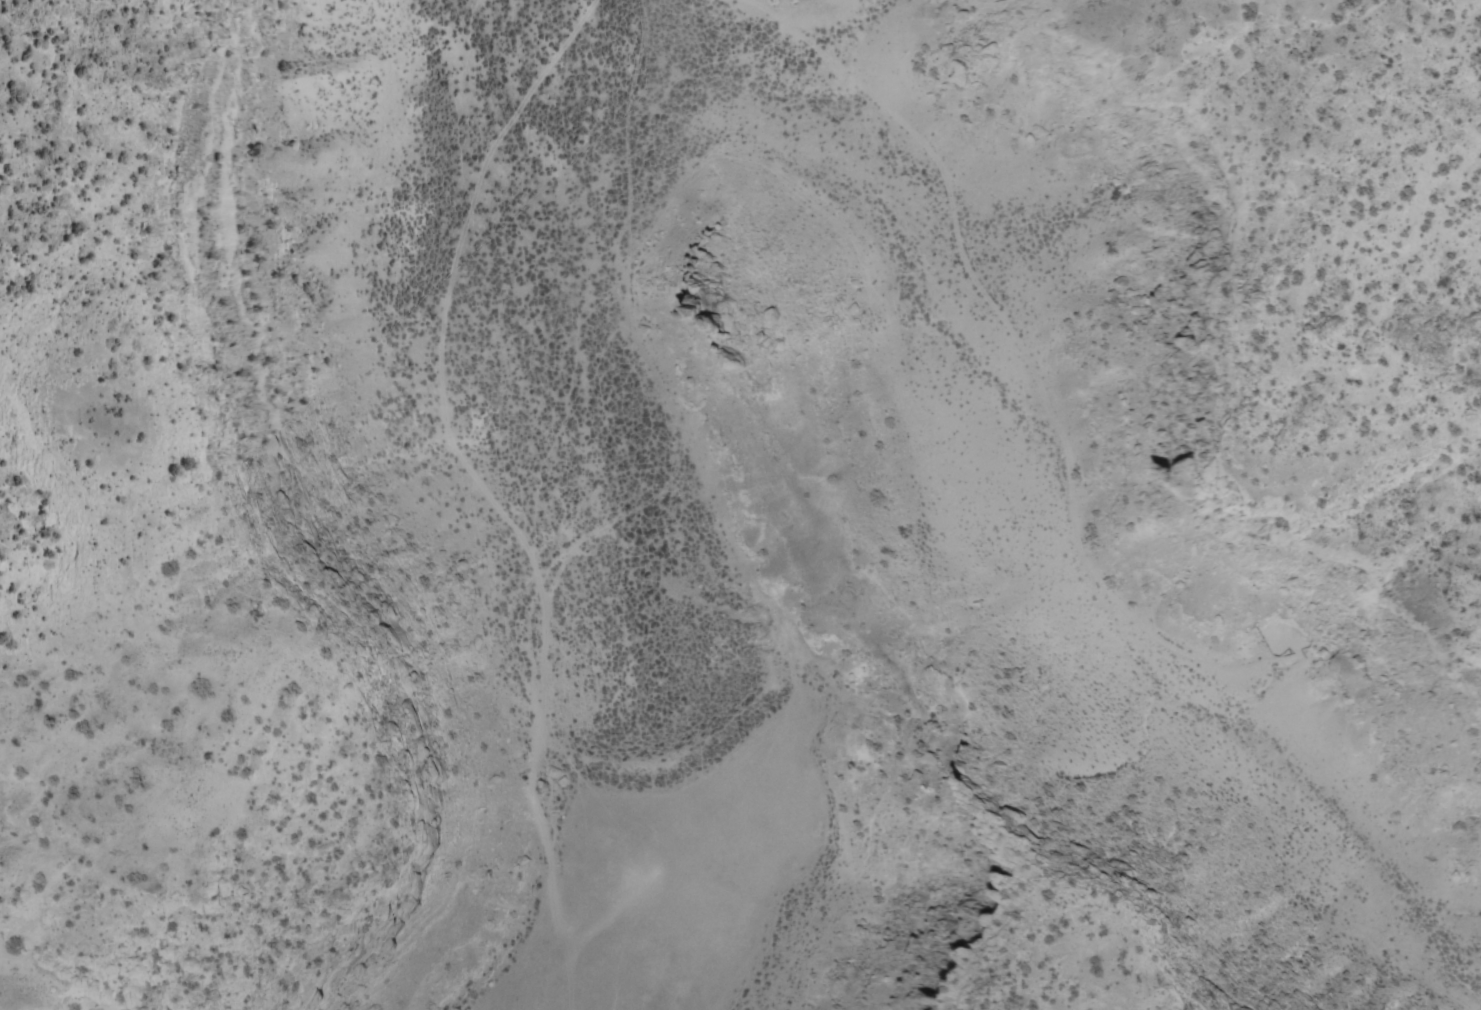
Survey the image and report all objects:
road: (666, 243)
river: (597, 478)
road: (724, 485)

